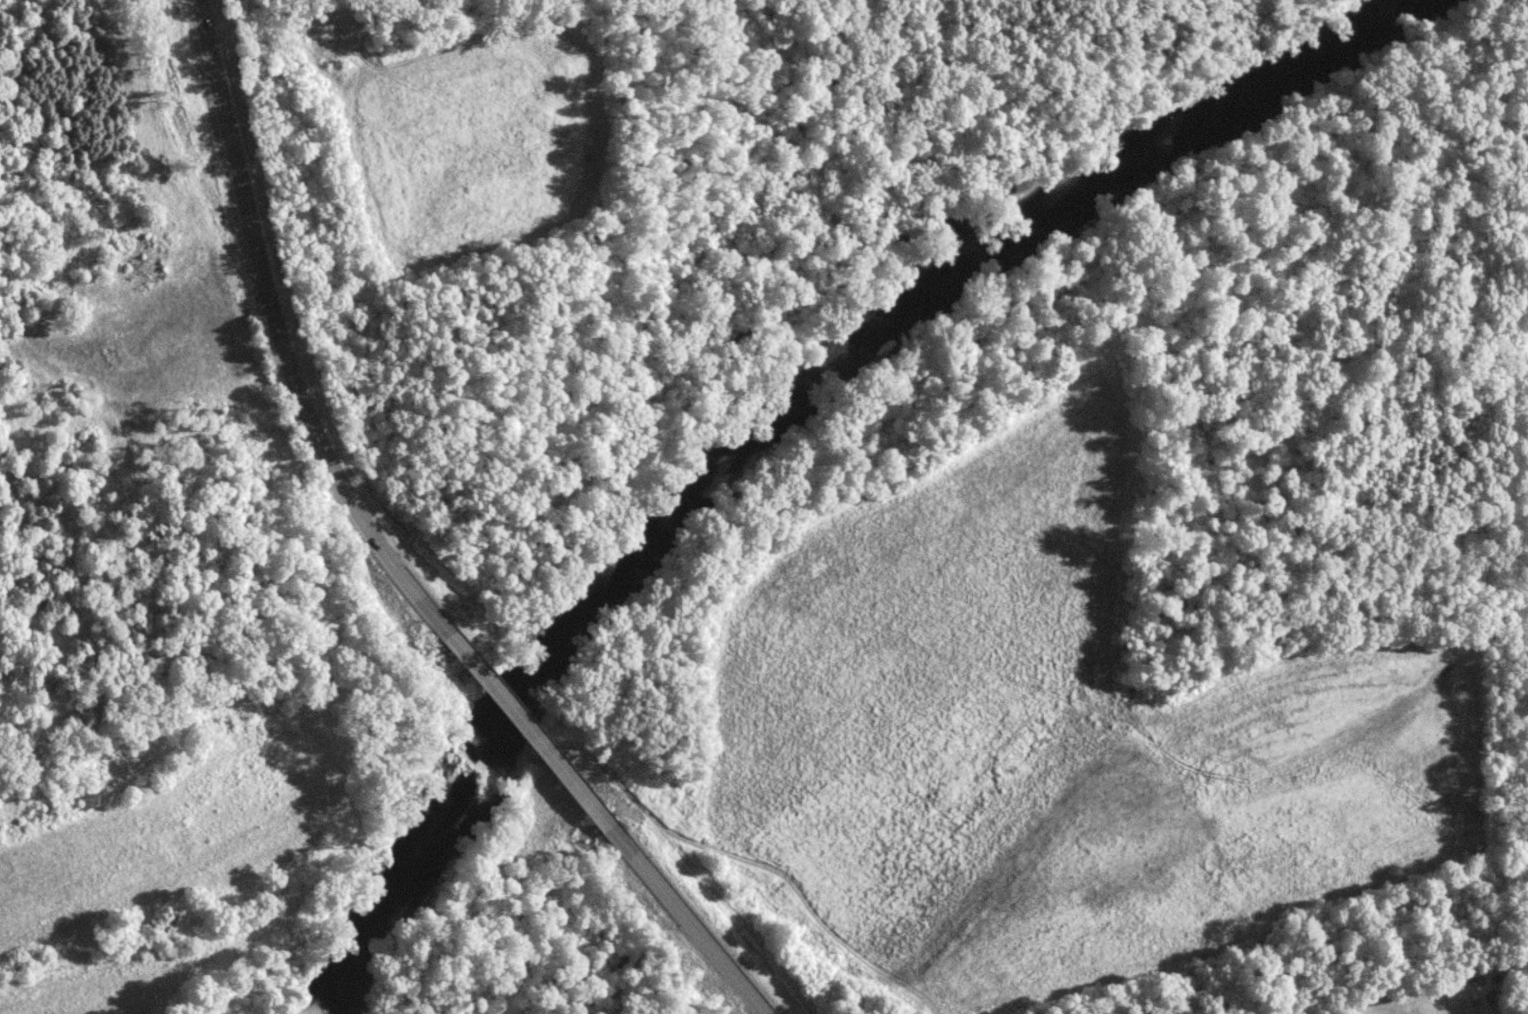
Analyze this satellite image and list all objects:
road: (201, 15)
road: (280, 352)
river: (788, 418)
road: (527, 732)
road: (688, 920)

